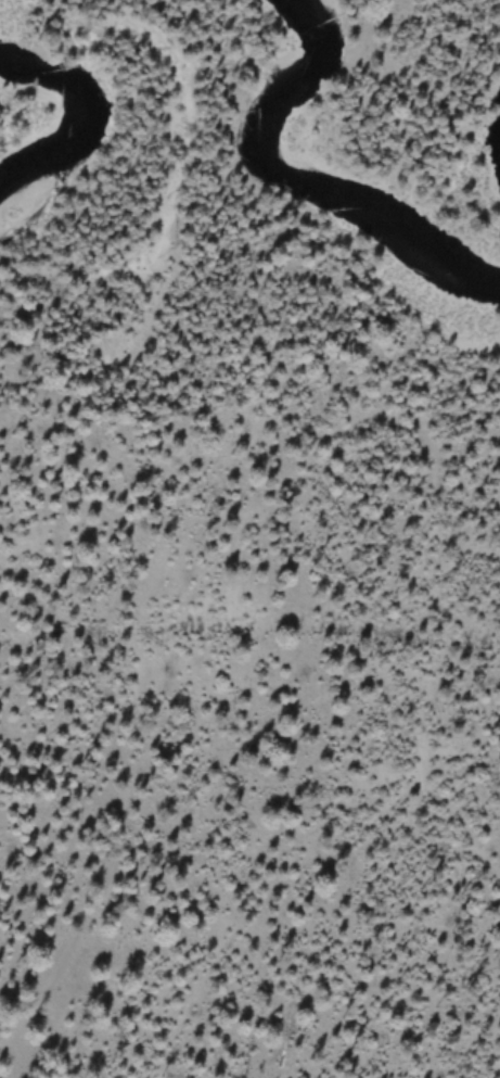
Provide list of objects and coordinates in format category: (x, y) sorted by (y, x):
river: (72, 119)
river: (304, 190)
road: (249, 635)

